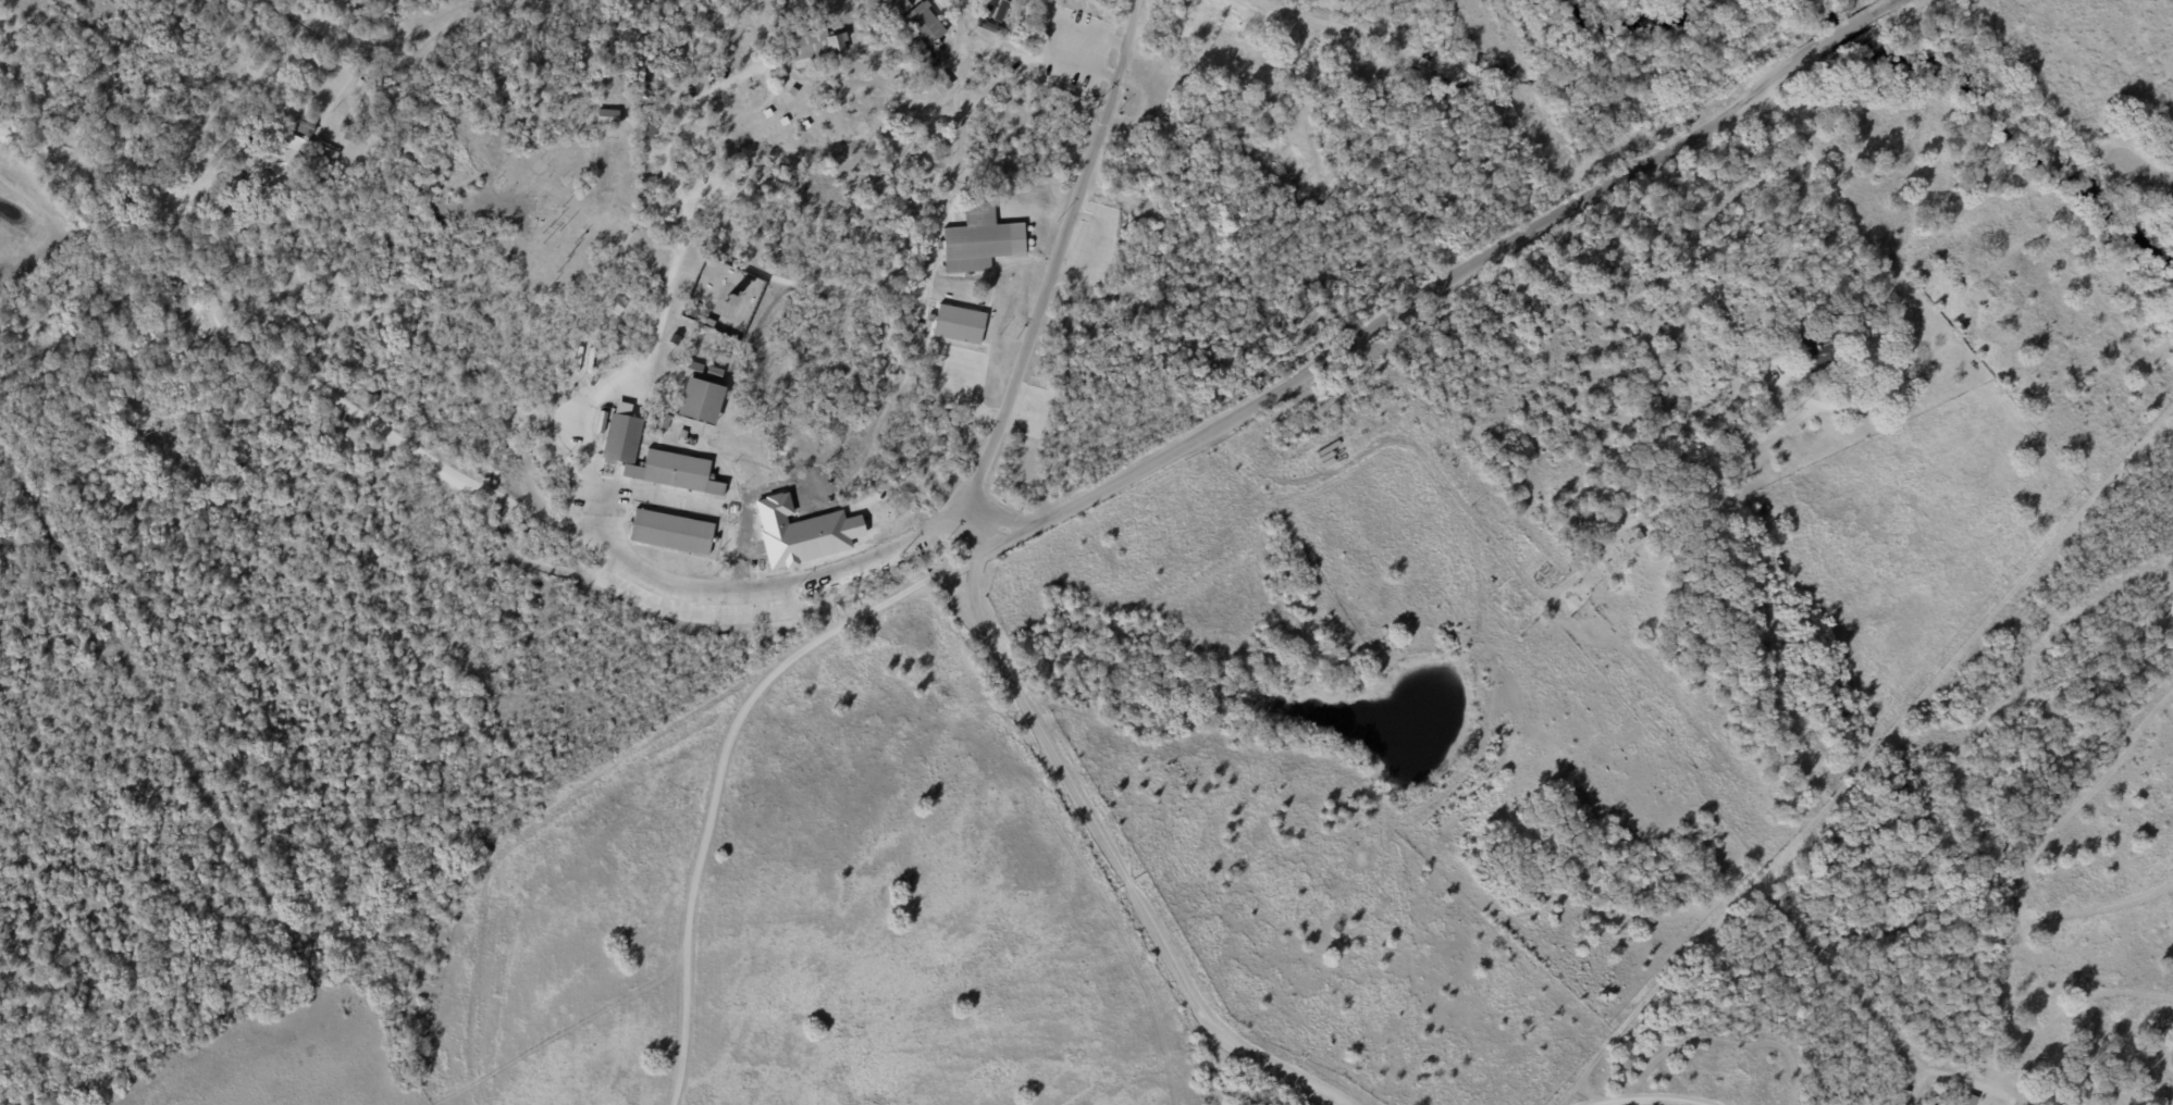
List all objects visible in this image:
building: (898, 8)
building: (989, 8)
road: (1055, 29)
building: (925, 30)
building: (813, 46)
building: (941, 83)
building: (606, 116)
building: (306, 126)
building: (644, 133)
building: (298, 144)
building: (326, 154)
road: (1890, 208)
building: (979, 239)
road: (1046, 259)
road: (1437, 286)
building: (616, 305)
building: (958, 323)
building: (1811, 353)
road: (272, 369)
building: (700, 393)
road: (1855, 407)
building: (662, 422)
building: (652, 457)
road: (578, 481)
building: (670, 532)
road: (1622, 687)
road: (723, 772)
road: (1115, 865)
building: (1968, 1100)

